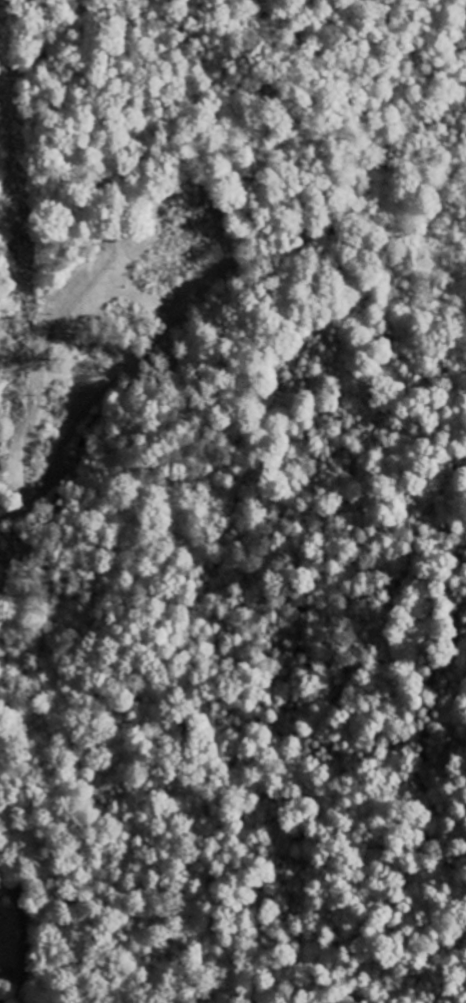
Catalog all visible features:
road: (26, 933)

